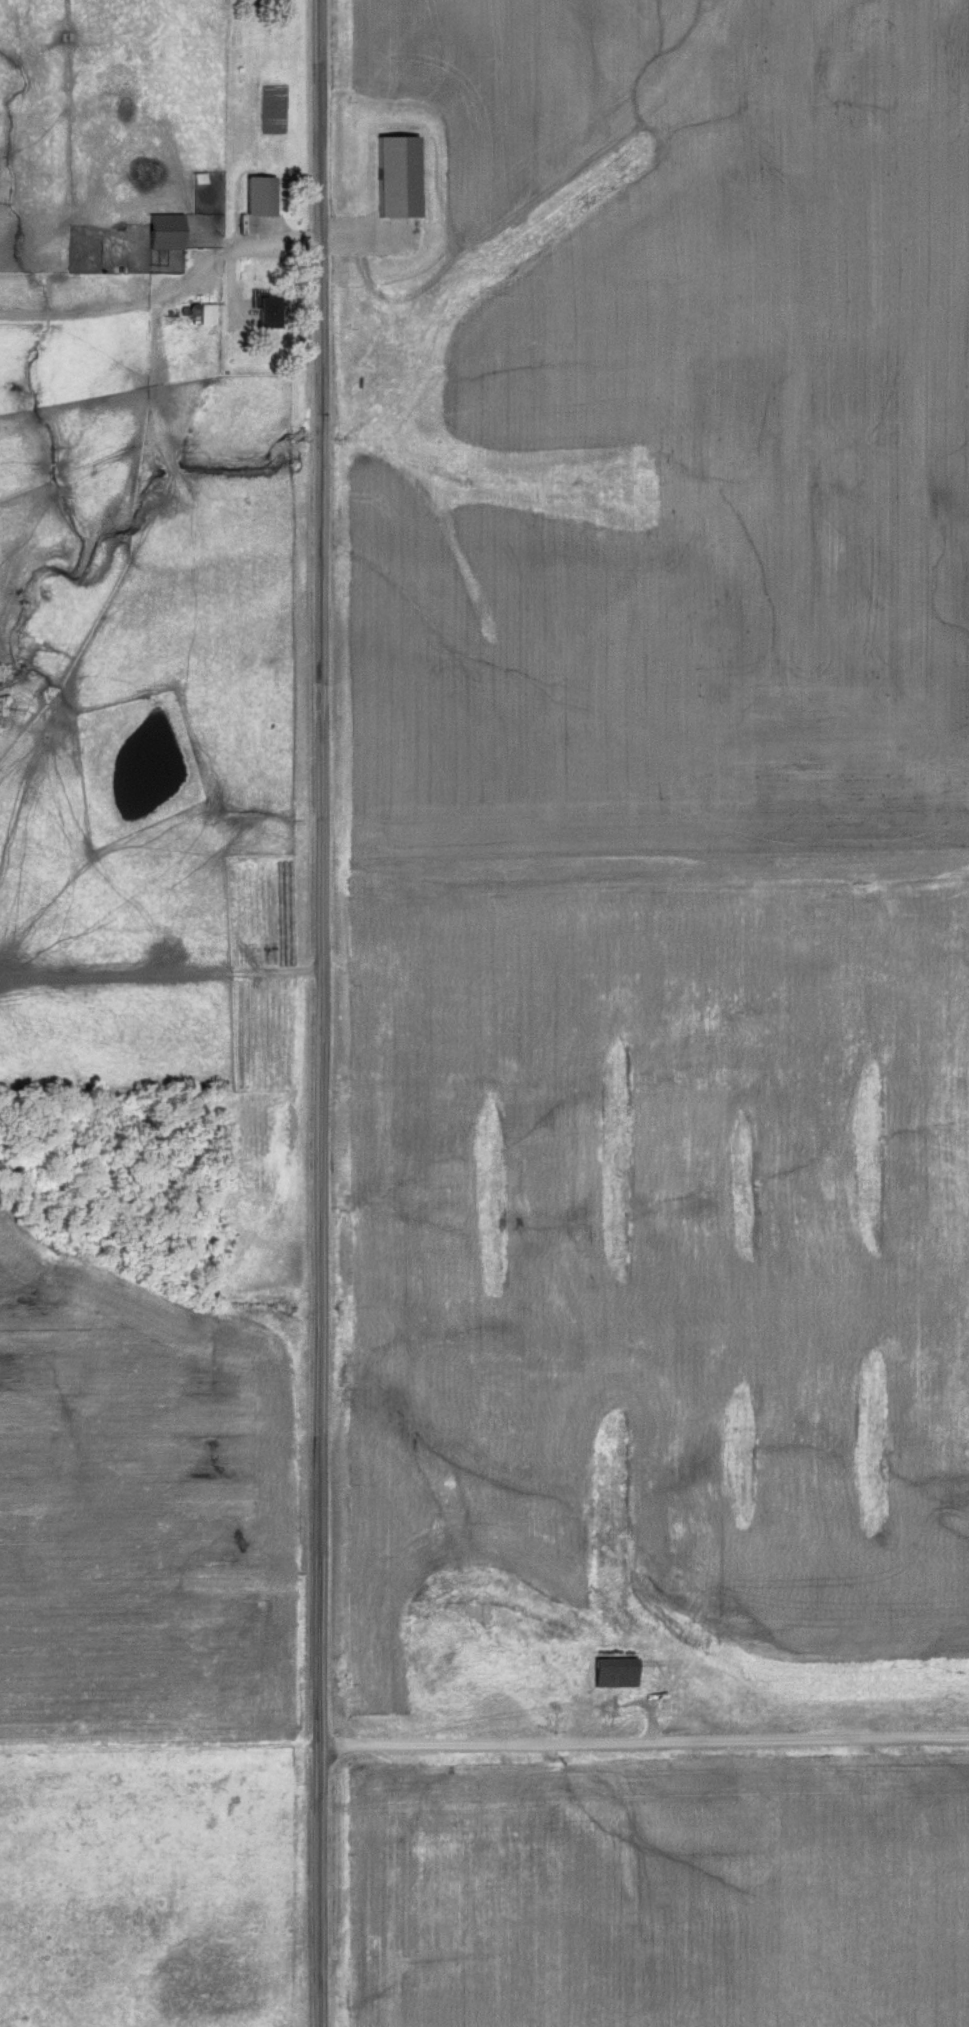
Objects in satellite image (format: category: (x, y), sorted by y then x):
building: (255, 224)
building: (164, 232)
building: (267, 313)
road: (123, 346)
road: (321, 875)
building: (614, 1672)
road: (644, 1744)
road: (322, 1888)

